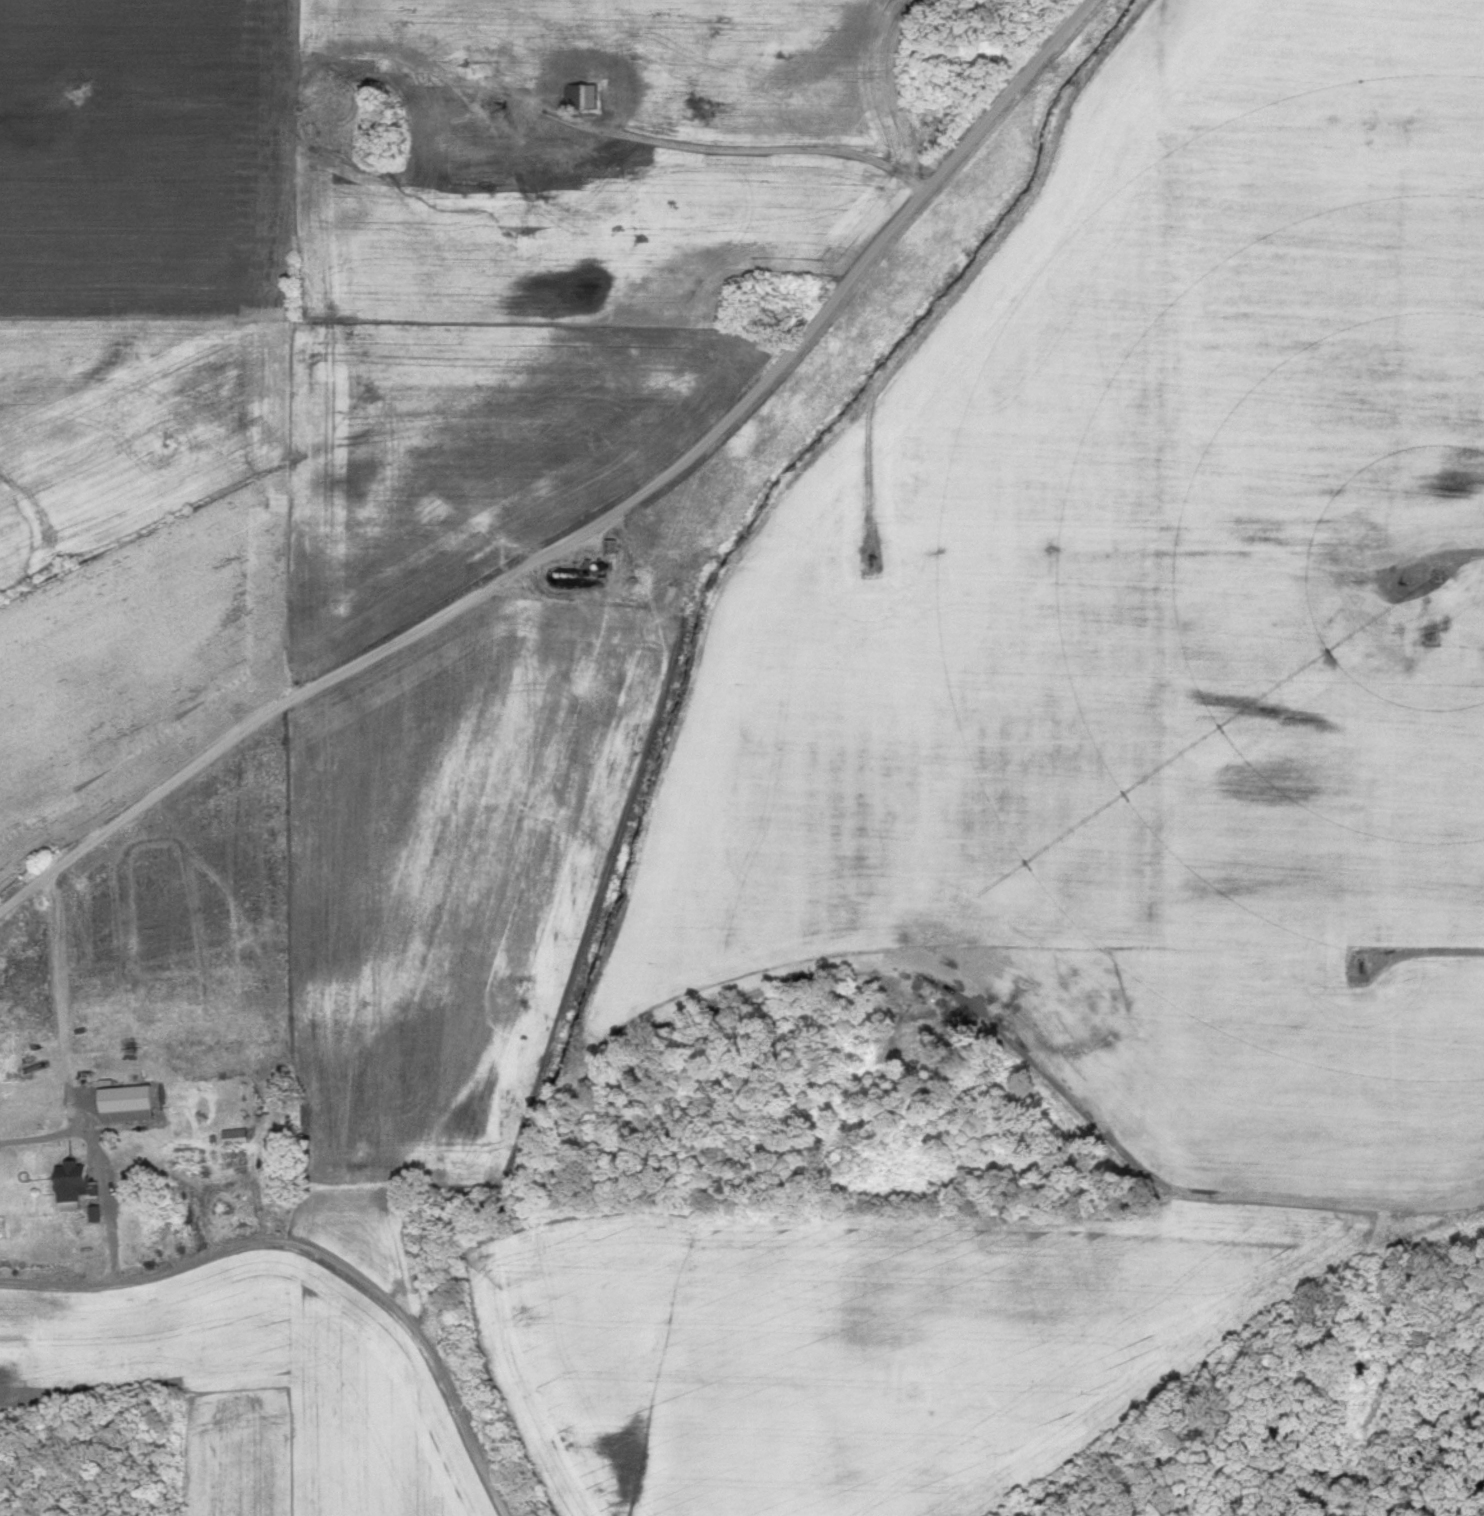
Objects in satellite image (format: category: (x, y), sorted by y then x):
building: (584, 98)
petroleum well: (502, 107)
petroleum well: (1370, 128)
road: (1202, 130)
road: (728, 146)
road: (602, 521)
building: (613, 548)
road: (547, 747)
road: (1436, 953)
petroleum well: (1359, 968)
road: (64, 1038)
building: (236, 1137)
building: (78, 1186)
building: (97, 1214)
road: (321, 1252)
road: (1259, 1355)

